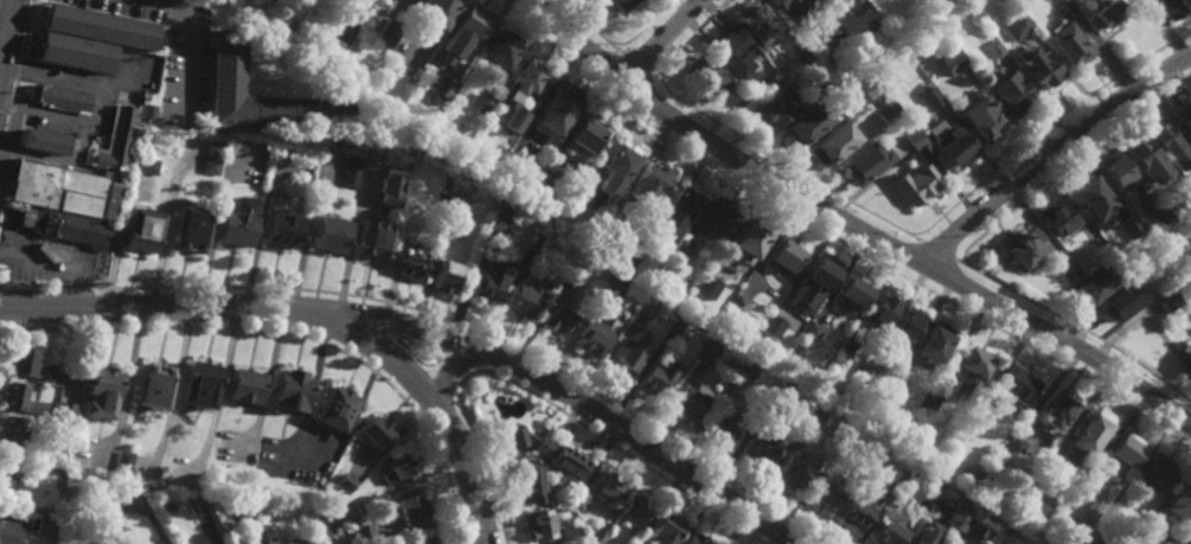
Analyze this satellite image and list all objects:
building: (1062, 0)
road: (165, 1)
building: (846, 4)
building: (621, 6)
building: (1170, 6)
building: (789, 7)
road: (94, 13)
building: (1101, 13)
building: (436, 14)
building: (1014, 24)
road: (5, 25)
road: (591, 26)
building: (756, 26)
road: (26, 27)
building: (97, 27)
road: (643, 27)
building: (822, 31)
building: (342, 34)
building: (389, 34)
building: (463, 36)
road: (690, 36)
road: (1, 37)
road: (661, 40)
building: (1067, 41)
building: (729, 44)
building: (991, 46)
building: (501, 52)
building: (72, 55)
building: (801, 56)
road: (183, 60)
building: (947, 62)
road: (640, 64)
building: (1036, 66)
road: (19, 68)
building: (707, 76)
building: (525, 82)
building: (742, 84)
building: (758, 85)
building: (815, 87)
road: (14, 89)
building: (443, 89)
building: (1008, 91)
building: (927, 97)
building: (261, 98)
building: (58, 100)
building: (482, 103)
road: (12, 105)
building: (882, 107)
building: (769, 109)
building: (557, 111)
building: (147, 113)
building: (1182, 115)
building: (807, 121)
building: (980, 121)
building: (513, 124)
road: (7, 128)
road: (1044, 128)
building: (584, 135)
building: (420, 136)
building: (913, 137)
building: (114, 140)
building: (831, 141)
building: (44, 142)
building: (1165, 142)
building: (950, 145)
road: (8, 151)
building: (923, 151)
road: (1049, 151)
building: (1144, 155)
building: (211, 158)
building: (864, 161)
road: (1064, 162)
building: (142, 164)
building: (615, 165)
road: (785, 166)
building: (351, 171)
building: (1114, 171)
building: (546, 174)
road: (8, 181)
building: (647, 183)
building: (389, 184)
building: (915, 184)
building: (584, 187)
building: (63, 191)
building: (1090, 196)
building: (499, 201)
building: (456, 205)
building: (1174, 206)
building: (675, 210)
building: (507, 213)
building: (1157, 213)
building: (1055, 216)
building: (235, 220)
building: (715, 220)
building: (1129, 225)
building: (186, 226)
road: (852, 226)
building: (139, 228)
building: (278, 228)
building: (494, 229)
building: (71, 230)
building: (326, 230)
building: (603, 231)
building: (373, 237)
road: (902, 237)
building: (750, 238)
road: (351, 239)
building: (537, 243)
road: (833, 243)
building: (1020, 245)
building: (681, 249)
road: (894, 249)
road: (939, 252)
building: (785, 254)
road: (885, 263)
building: (409, 265)
building: (627, 265)
building: (1067, 268)
building: (575, 270)
building: (712, 274)
road: (967, 274)
building: (446, 276)
building: (488, 280)
road: (32, 283)
building: (613, 283)
building: (813, 283)
road: (959, 284)
building: (1094, 284)
road: (76, 287)
building: (706, 287)
building: (851, 293)
building: (1121, 299)
building: (1166, 299)
road: (950, 300)
building: (523, 302)
building: (738, 305)
building: (646, 306)
building: (881, 309)
road: (306, 316)
building: (558, 321)
building: (771, 325)
building: (904, 325)
building: (674, 328)
road: (1075, 328)
building: (812, 331)
road: (482, 333)
building: (595, 334)
road: (289, 335)
road: (380, 337)
building: (931, 341)
building: (1190, 341)
building: (1190, 341)
building: (846, 347)
building: (706, 353)
road: (485, 354)
building: (628, 356)
building: (26, 361)
building: (1186, 363)
building: (745, 369)
building: (968, 370)
building: (865, 371)
building: (894, 377)
road: (444, 380)
building: (655, 382)
building: (197, 384)
building: (1011, 384)
building: (149, 385)
building: (242, 385)
road: (552, 386)
road: (174, 389)
road: (219, 390)
building: (288, 390)
road: (310, 392)
building: (98, 393)
building: (787, 395)
building: (19, 398)
building: (689, 401)
building: (926, 401)
road: (542, 403)
building: (333, 408)
building: (1055, 408)
road: (437, 409)
building: (63, 412)
building: (812, 417)
building: (726, 418)
building: (965, 424)
building: (373, 430)
building: (8, 436)
building: (1084, 437)
building: (762, 447)
building: (1012, 448)
building: (548, 452)
building: (1120, 454)
building: (316, 463)
building: (123, 466)
building: (171, 468)
building: (397, 469)
building: (794, 471)
building: (1152, 474)
building: (6, 482)
building: (345, 482)
building: (532, 484)
building: (603, 485)
building: (927, 494)
building: (110, 495)
building: (826, 495)
building: (378, 498)
building: (580, 498)
building: (881, 500)
building: (1179, 501)
building: (197, 505)
building: (363, 505)
building: (242, 507)
building: (410, 507)
building: (856, 511)
building: (1086, 511)
building: (329, 512)
building: (633, 512)
building: (955, 520)
building: (43, 525)
building: (540, 526)
building: (977, 526)
building: (569, 530)
building: (665, 530)
building: (886, 530)
building: (1032, 530)
building: (7, 533)
building: (363, 533)
building: (598, 536)
building: (1160, 538)
building: (696, 539)
building: (418, 540)
building: (1107, 540)
building: (326, 542)
building: (914, 542)
building: (161, 543)
building: (280, 543)
building: (295, 543)
building: (333, 543)
building: (1004, 543)

